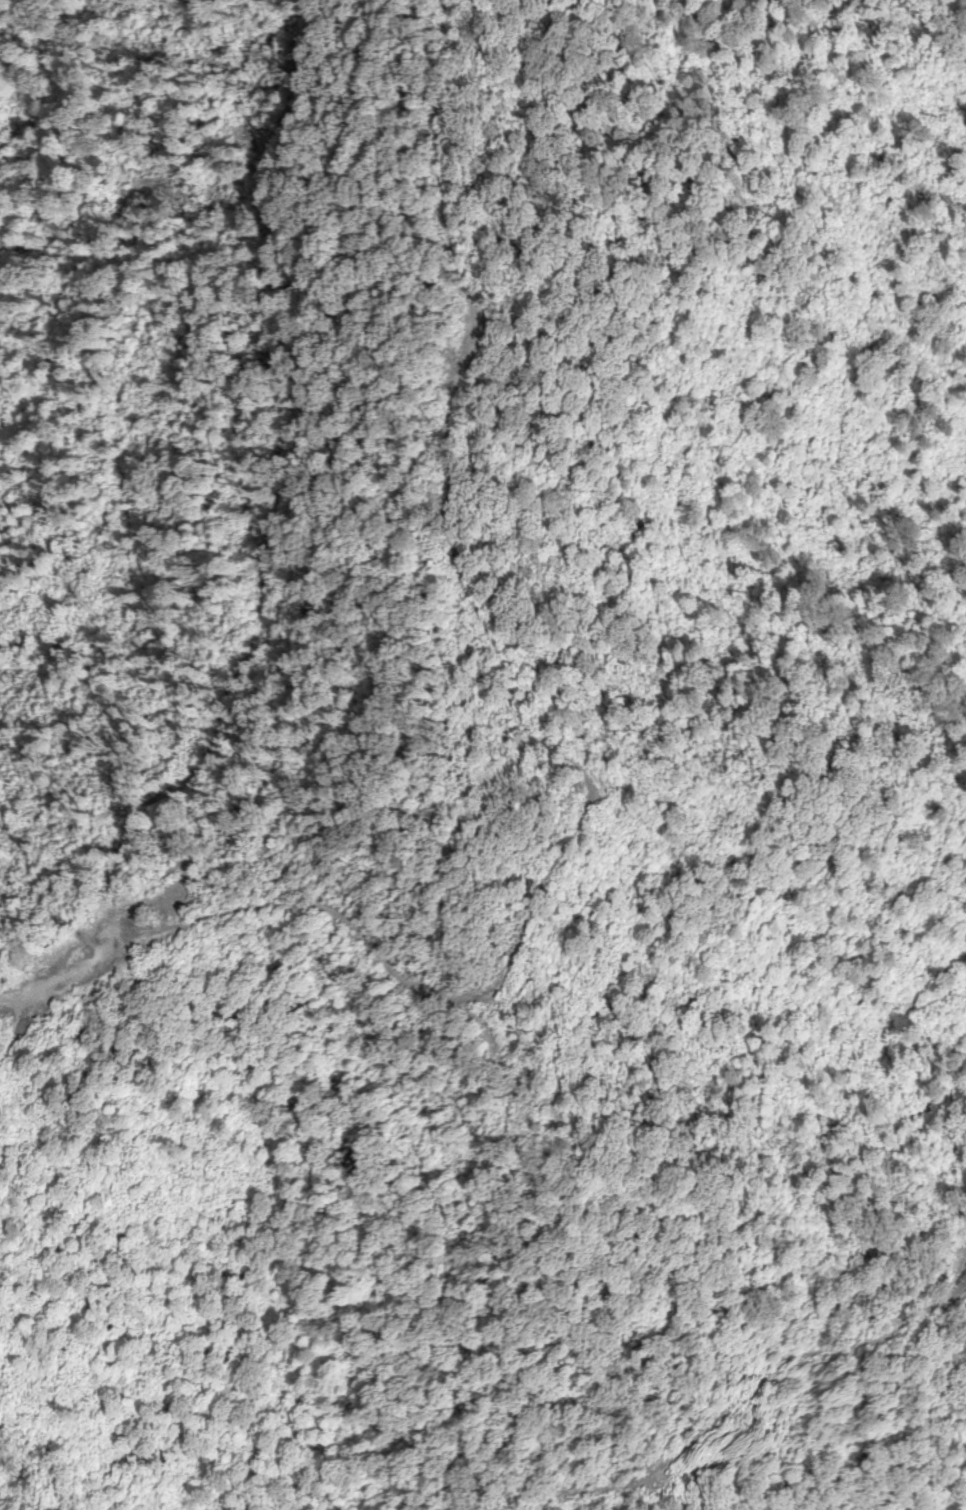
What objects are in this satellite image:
road: (145, 953)

